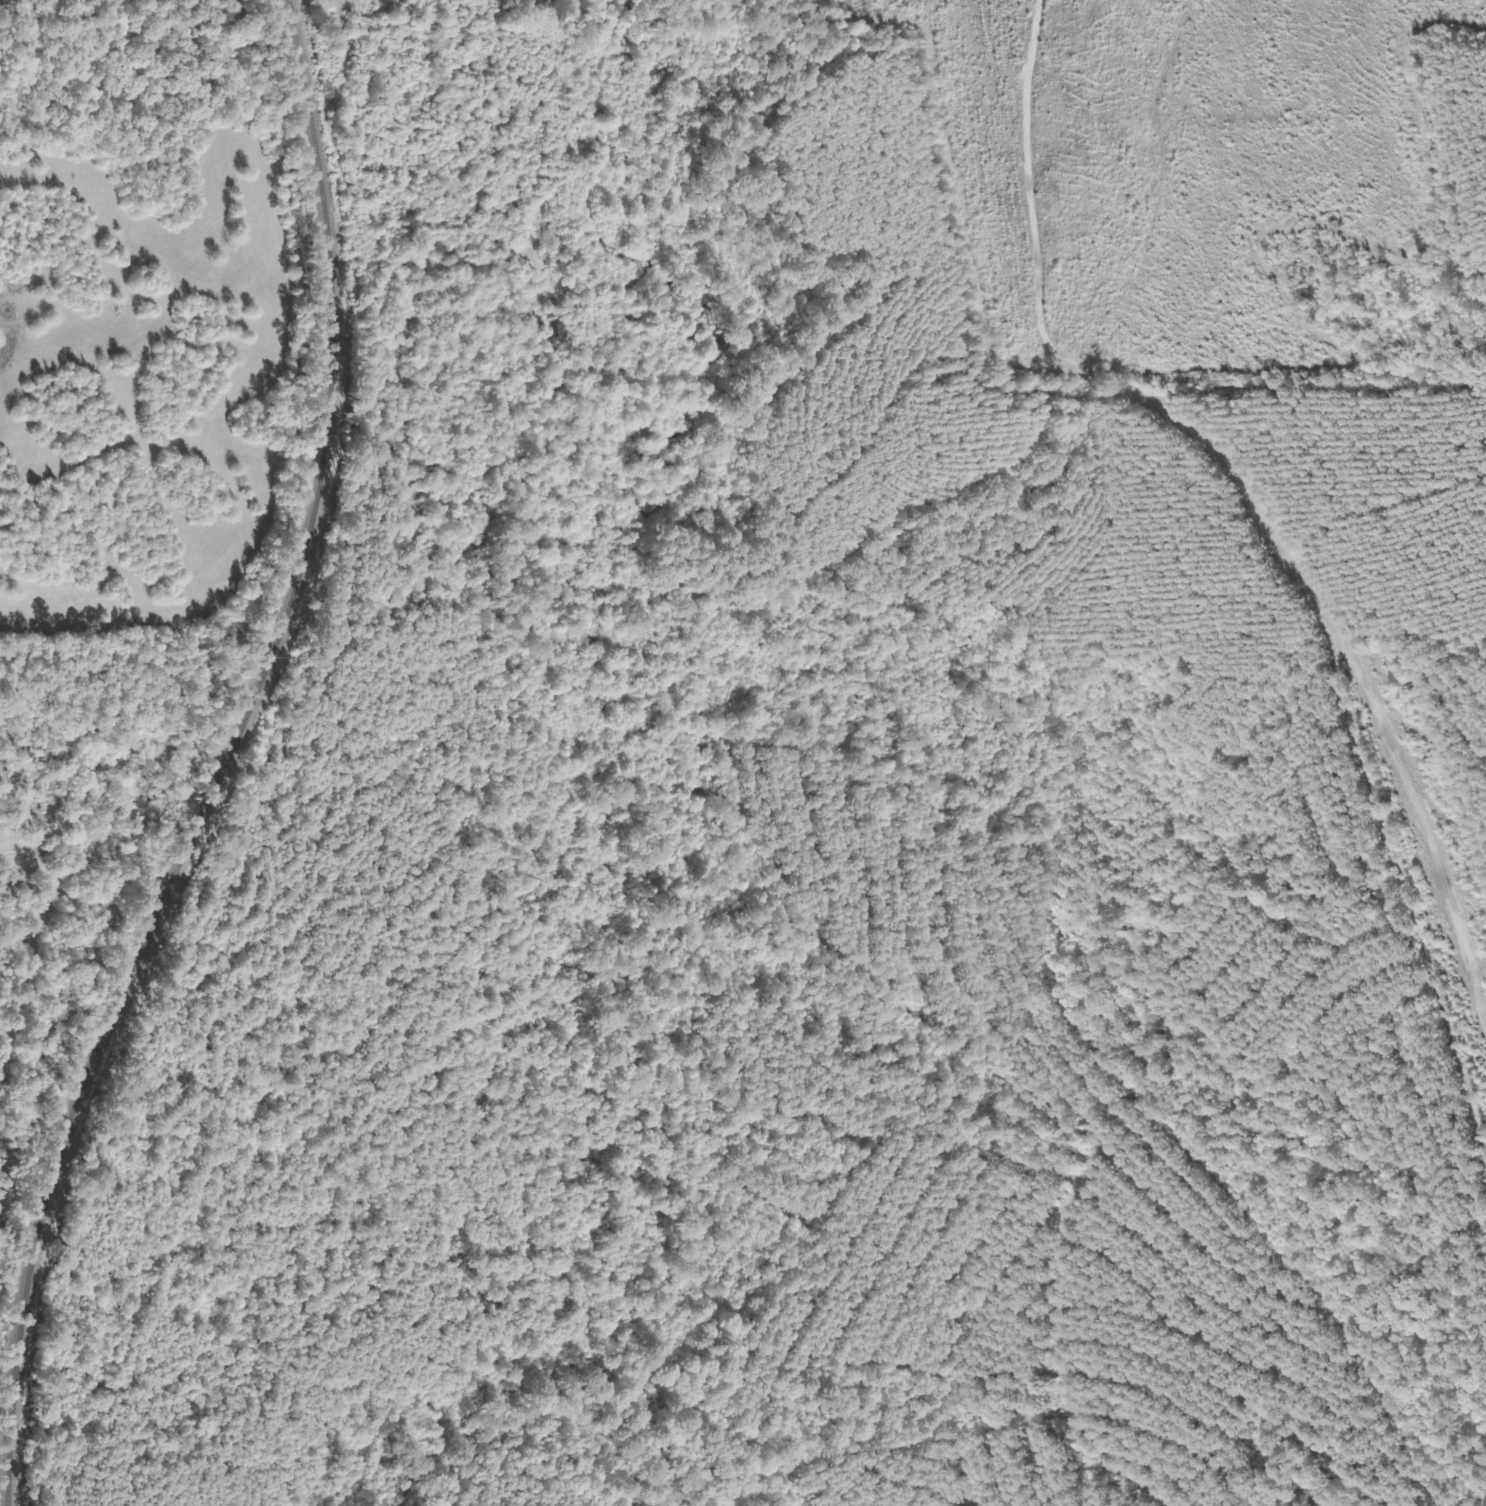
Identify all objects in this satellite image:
railway: (225, 762)

